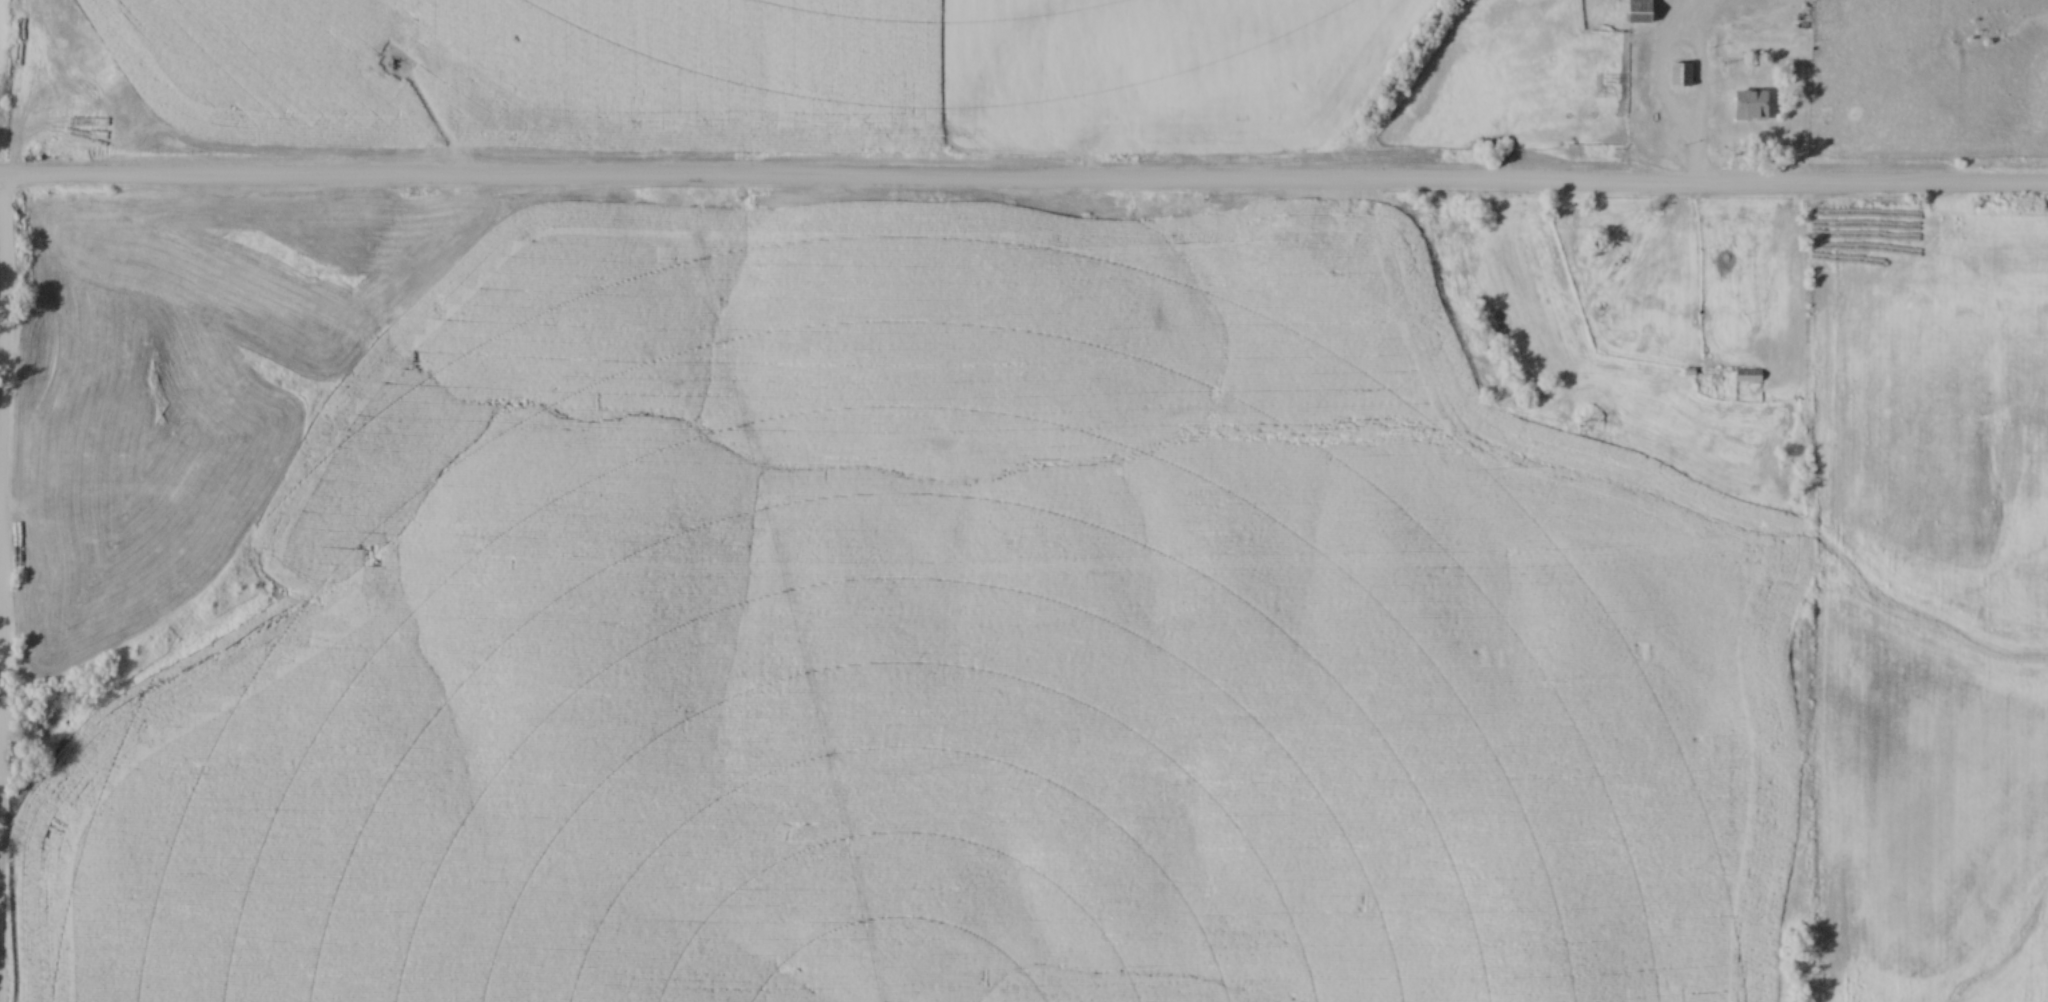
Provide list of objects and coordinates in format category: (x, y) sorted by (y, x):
building: (1639, 12)
building: (1680, 76)
building: (1751, 106)
road: (1656, 121)
road: (1024, 187)
road: (3, 344)
building: (1747, 375)

